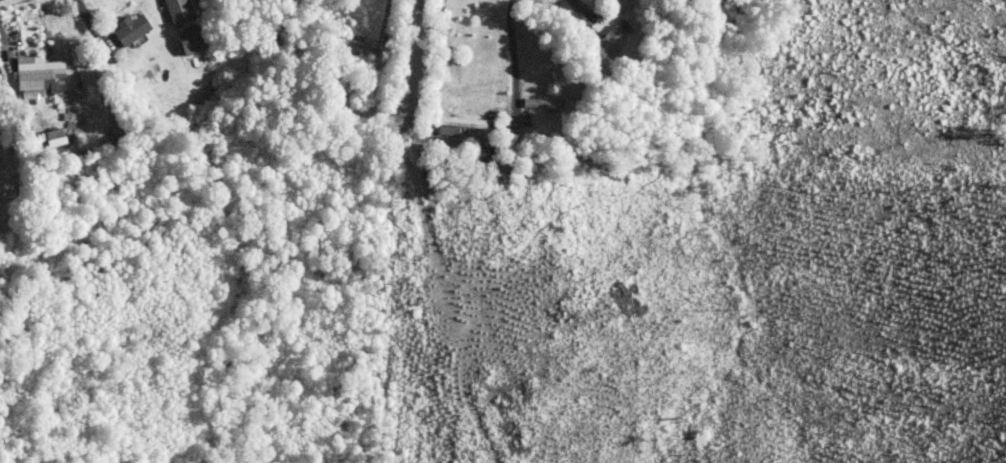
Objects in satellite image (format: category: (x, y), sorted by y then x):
building: (183, 11)
road: (383, 18)
building: (134, 28)
building: (613, 39)
building: (194, 40)
road: (441, 50)
road: (513, 50)
building: (40, 74)
building: (466, 121)
building: (58, 137)

